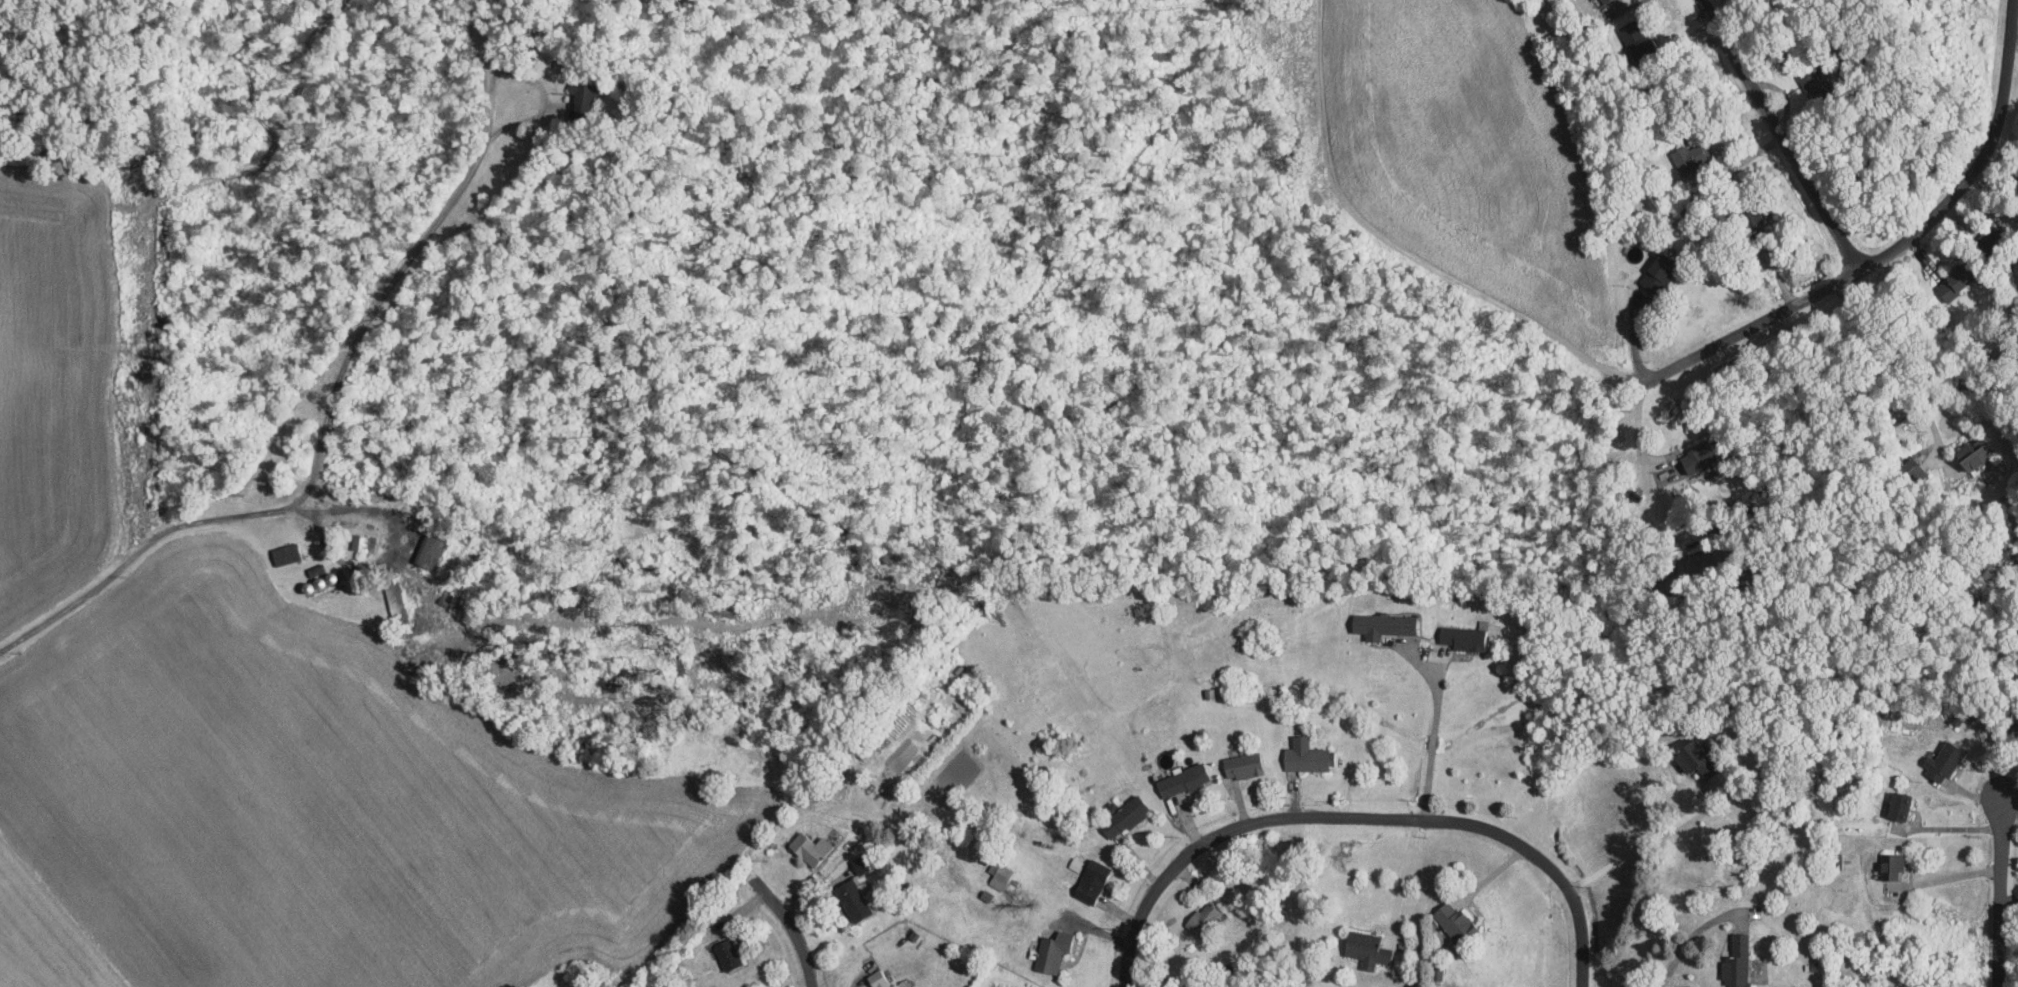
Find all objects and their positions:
building: (1602, 1)
building: (1631, 36)
road: (2012, 37)
building: (578, 96)
road: (1780, 135)
building: (1688, 157)
road: (1890, 245)
building: (1656, 272)
building: (1951, 285)
road: (1635, 337)
road: (1900, 362)
road: (1639, 433)
building: (1972, 453)
building: (1697, 458)
building: (1914, 469)
road: (153, 534)
building: (362, 542)
building: (426, 551)
building: (284, 554)
building: (315, 583)
building: (394, 601)
building: (1381, 625)
building: (1462, 637)
road: (1434, 666)
road: (1433, 731)
building: (1303, 755)
building: (1686, 755)
building: (1941, 761)
building: (1241, 764)
building: (1181, 779)
building: (833, 784)
building: (1898, 805)
road: (1360, 814)
building: (1123, 816)
road: (1948, 828)
road: (1645, 842)
building: (807, 847)
building: (1891, 864)
building: (998, 873)
road: (1404, 876)
road: (1945, 877)
building: (1089, 880)
road: (1995, 891)
building: (851, 898)
building: (1201, 916)
building: (1452, 920)
road: (795, 921)
road: (1689, 938)
building: (1365, 948)
building: (1052, 950)
building: (726, 953)
building: (1735, 961)
building: (879, 979)

